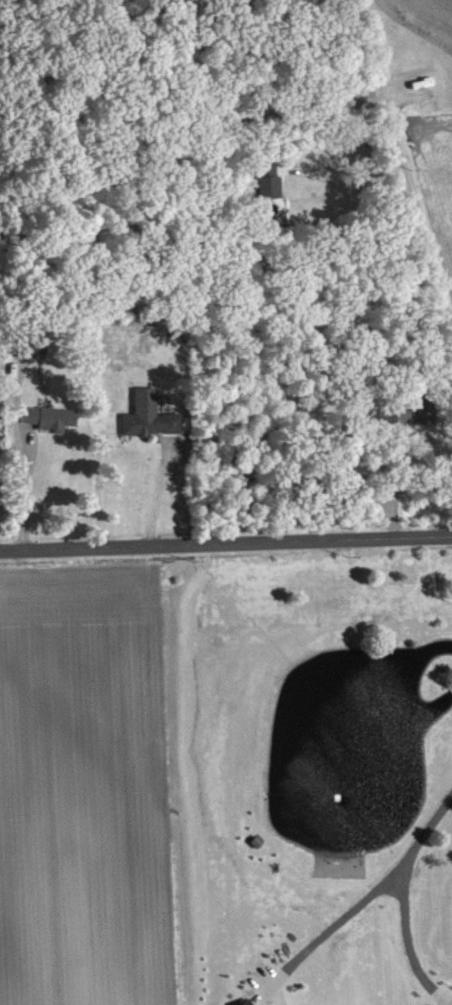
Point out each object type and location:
building: (364, 95)
road: (345, 153)
building: (271, 180)
road: (437, 260)
building: (35, 346)
building: (409, 410)
building: (152, 415)
building: (52, 417)
road: (24, 492)
road: (155, 494)
road: (225, 546)
road: (376, 892)
road: (410, 947)
building: (247, 1004)

